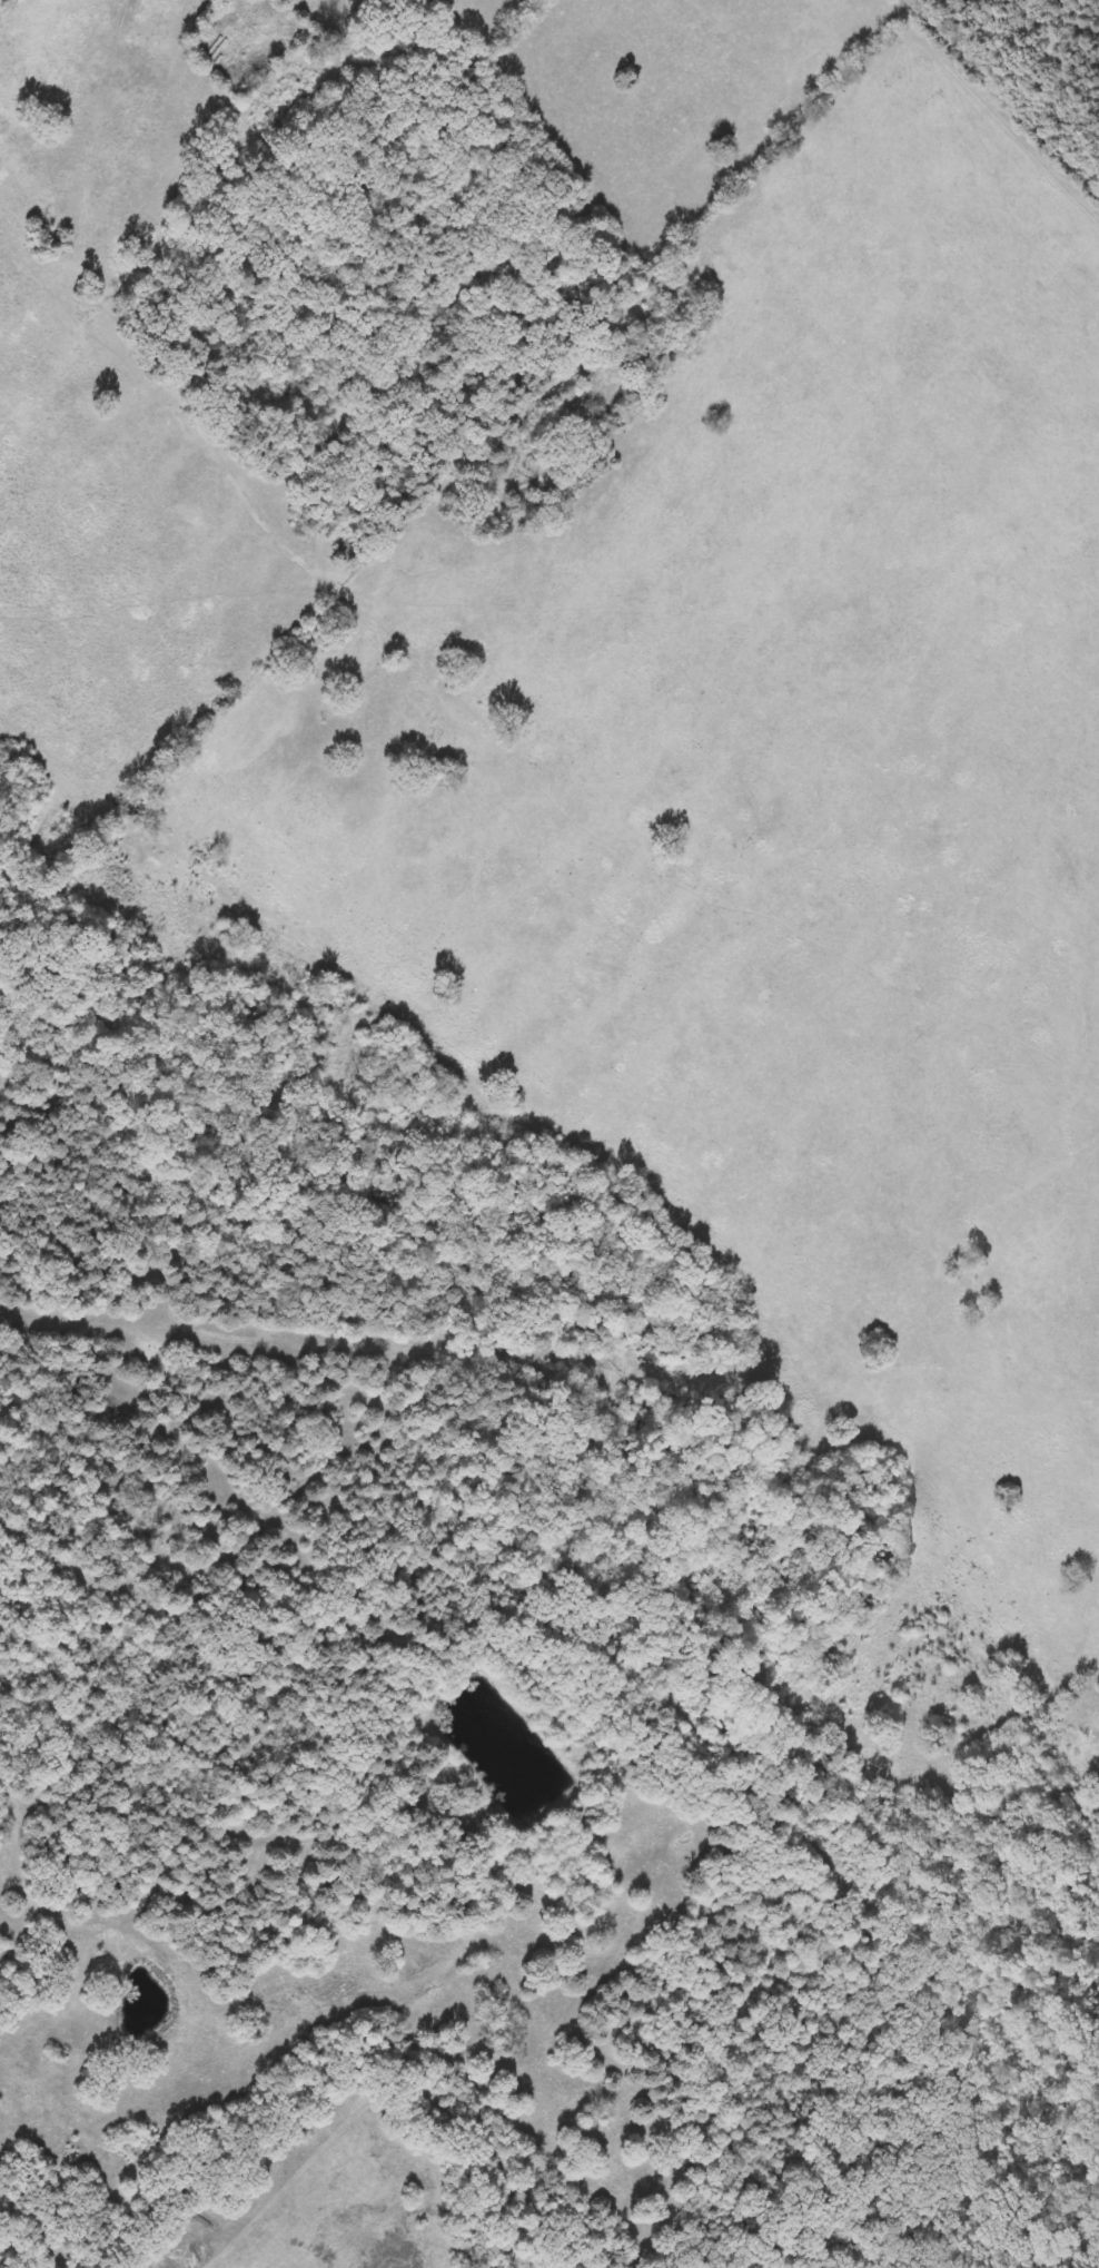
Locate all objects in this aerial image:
road: (270, 28)

